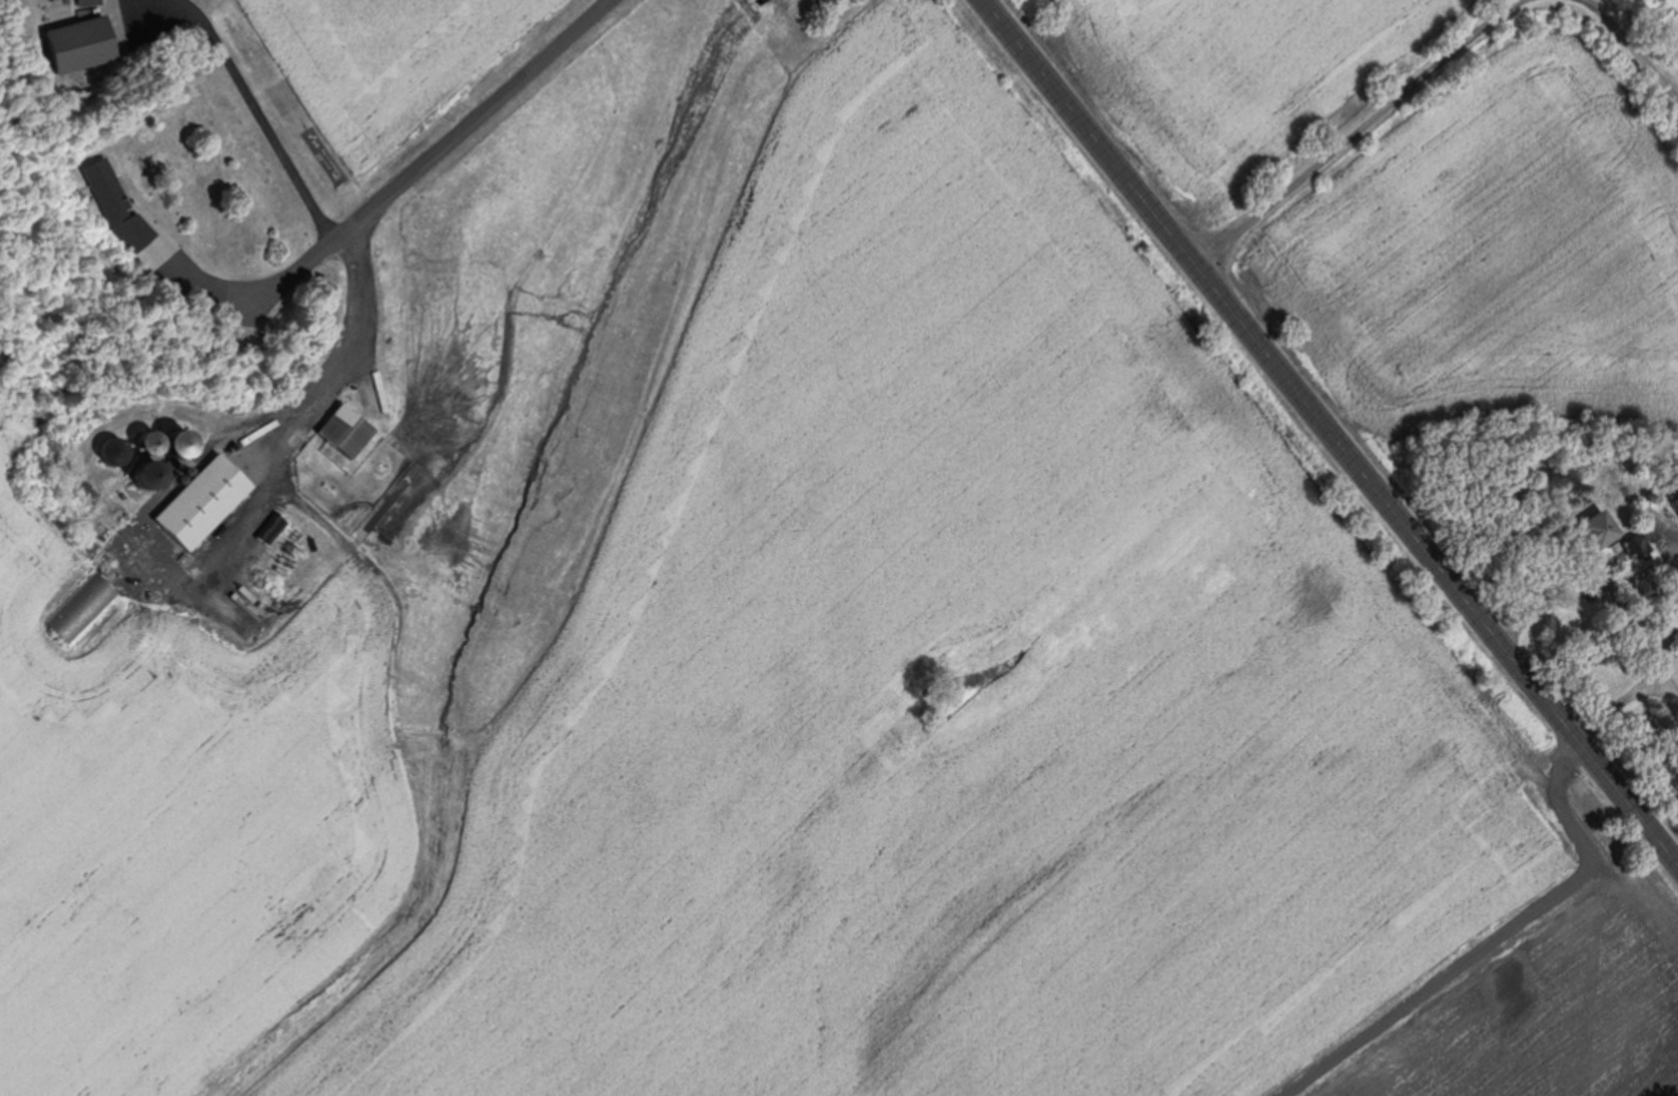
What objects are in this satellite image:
building: (82, 2)
road: (1626, 41)
building: (73, 45)
road: (256, 117)
road: (1361, 124)
road: (447, 141)
building: (107, 187)
building: (148, 248)
road: (335, 362)
building: (340, 432)
road: (1327, 432)
building: (200, 504)
building: (1674, 504)
building: (1592, 531)
building: (78, 611)
building: (1677, 631)

